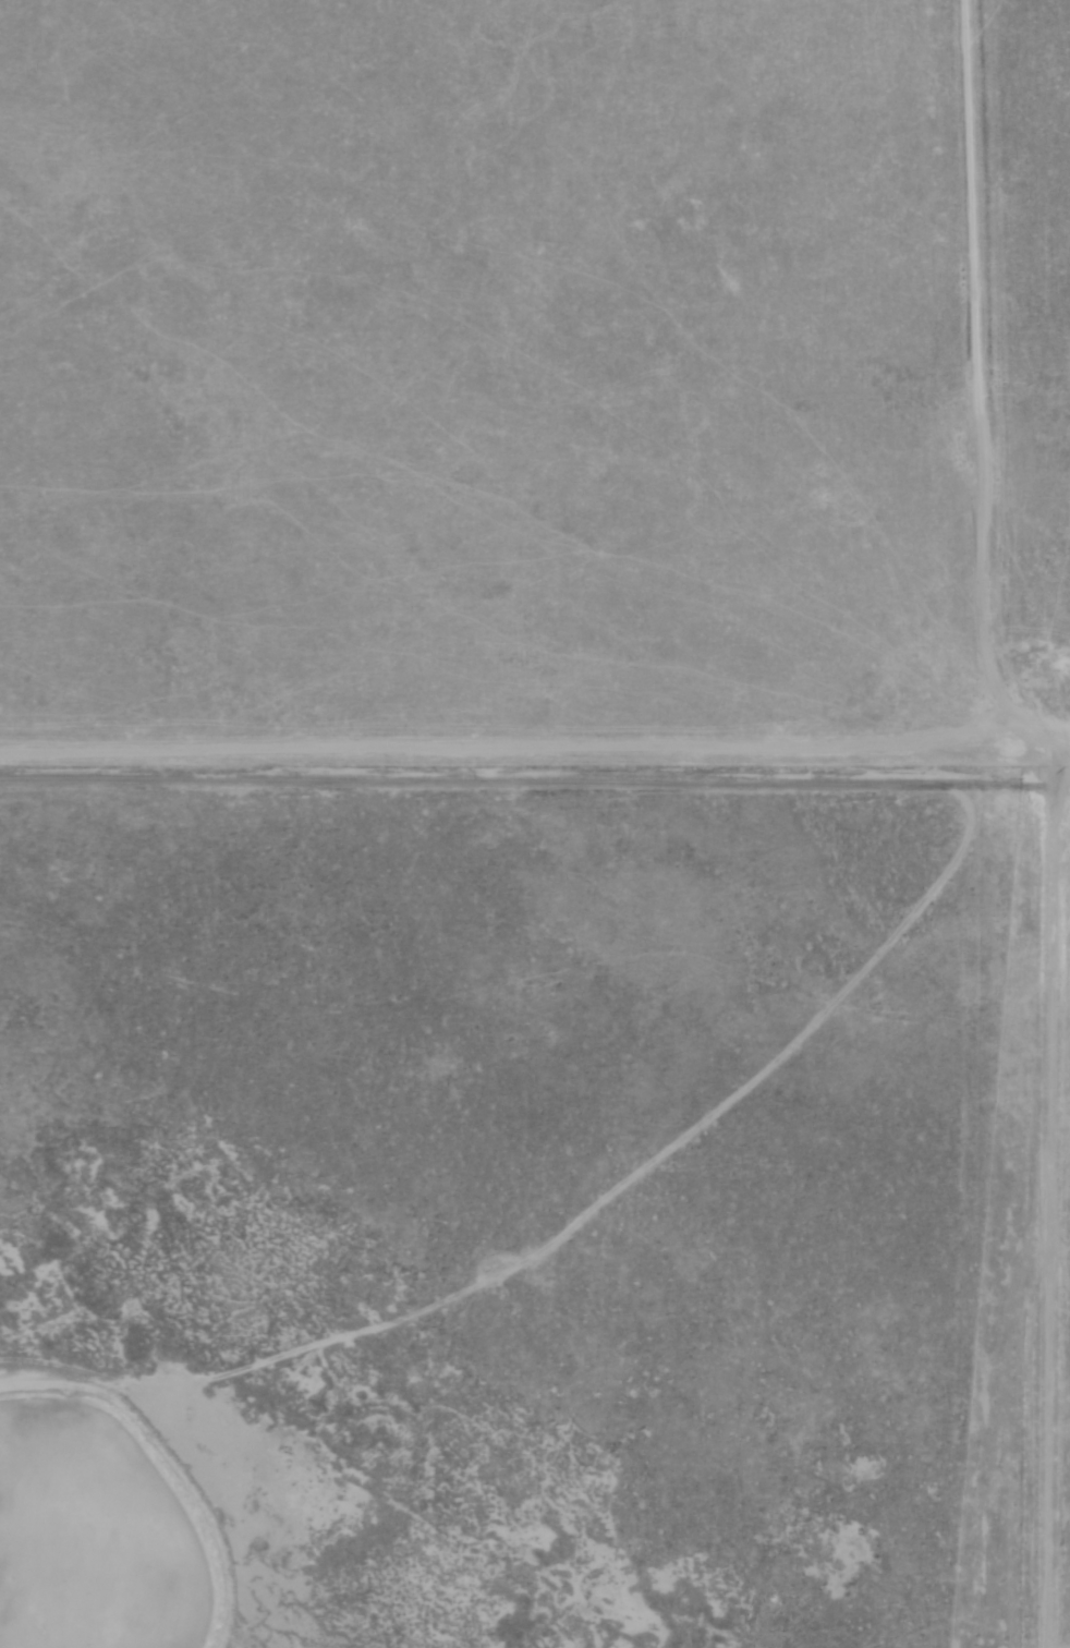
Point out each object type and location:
road: (977, 362)
road: (536, 765)
road: (1046, 1190)

